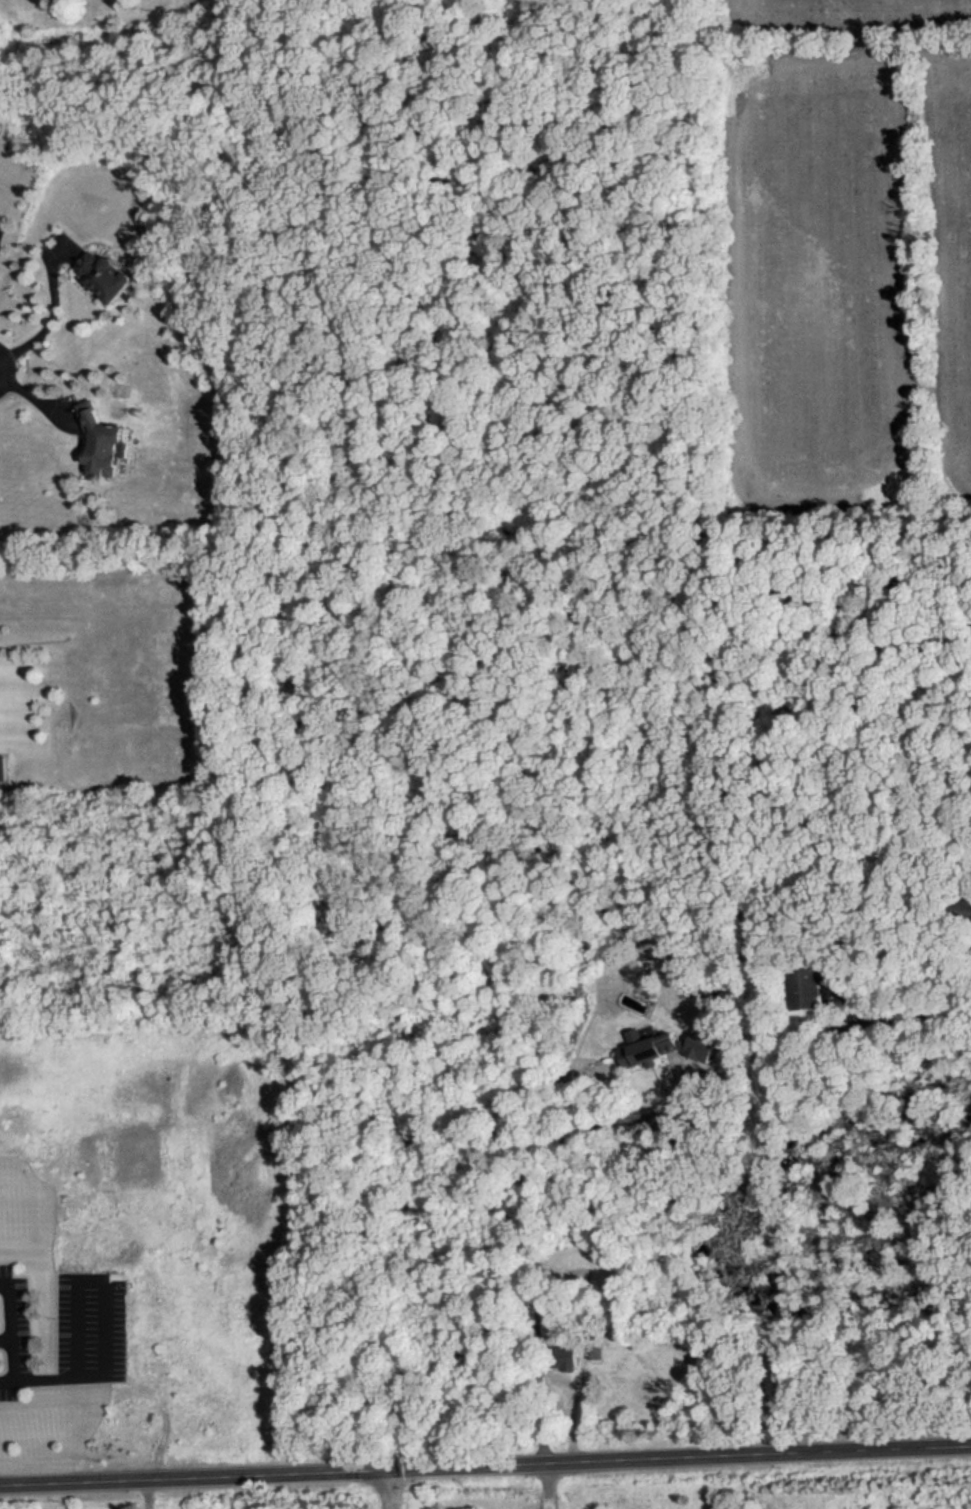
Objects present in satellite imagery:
crop: (771, 2)
crop: (949, 260)
crop: (812, 267)
building: (104, 273)
road: (48, 322)
road: (36, 400)
building: (99, 441)
building: (960, 908)
building: (808, 981)
road: (832, 986)
road: (883, 1020)
building: (671, 1045)
building: (723, 1046)
road: (535, 1210)
road: (77, 1273)
road: (11, 1323)
parking lot: (69, 1326)
building: (596, 1347)
building: (561, 1356)
road: (6, 1377)
building: (647, 1389)
road: (570, 1405)
road: (679, 1455)
road: (269, 1473)
road: (75, 1481)
road: (547, 1484)
road: (389, 1488)

